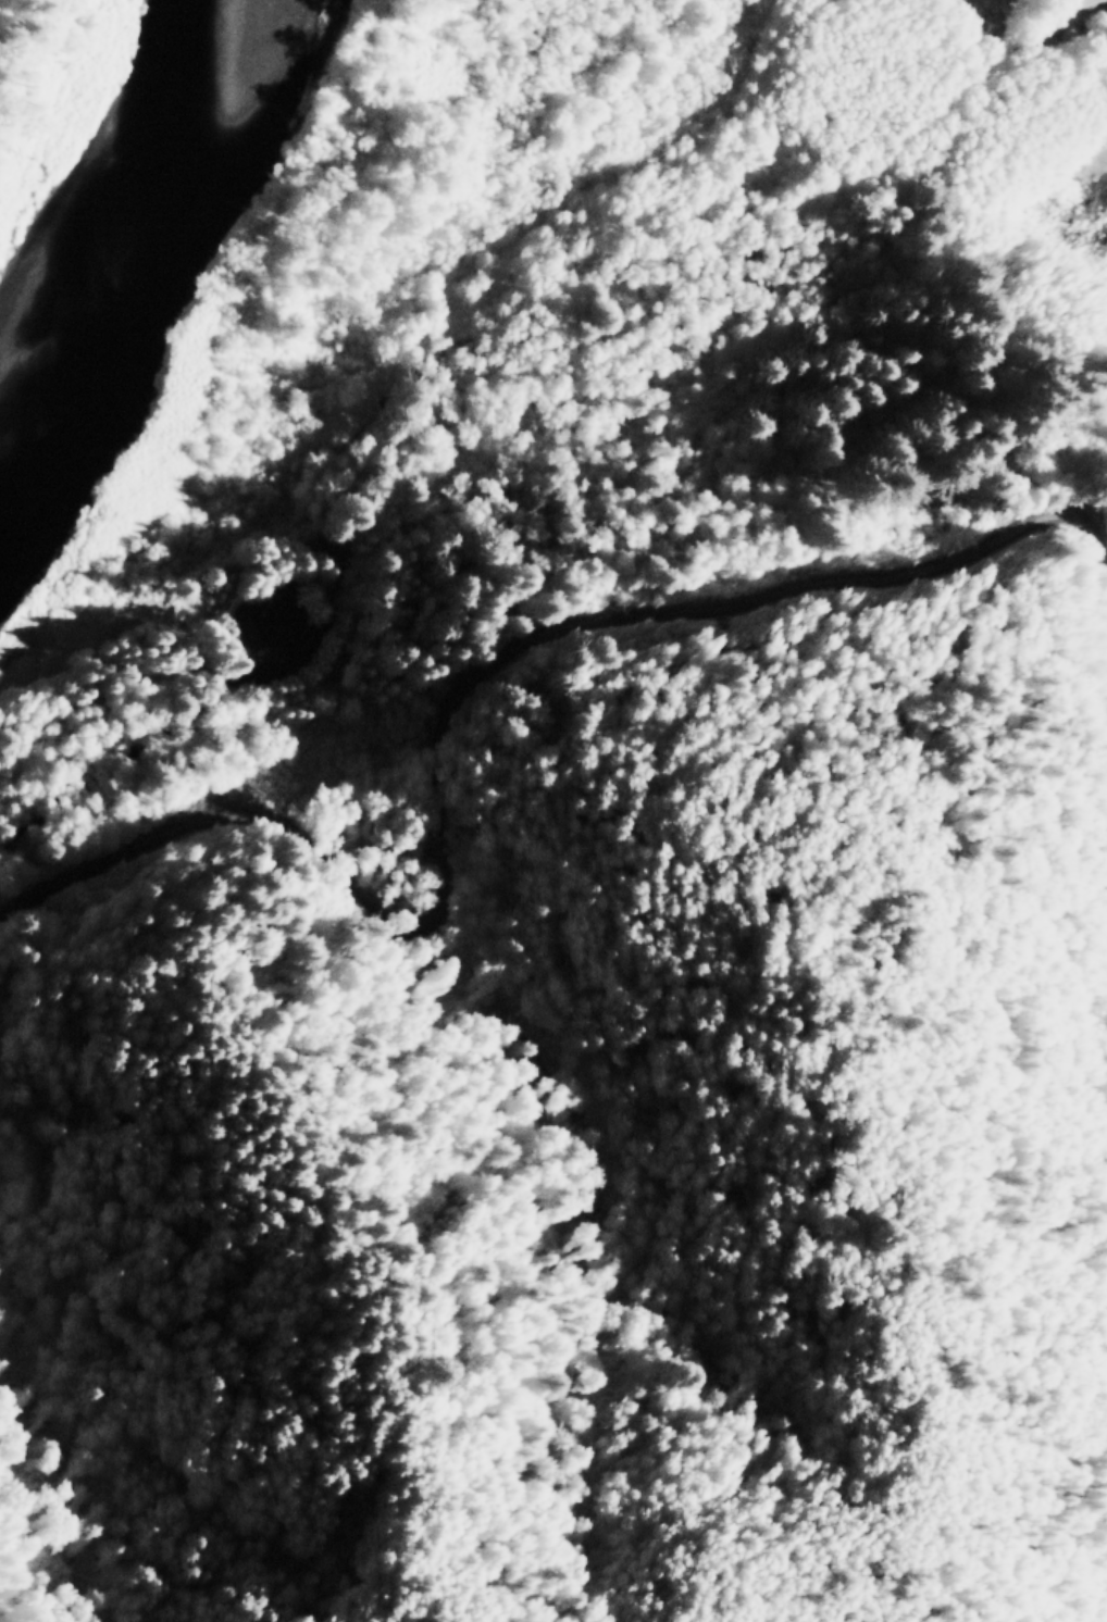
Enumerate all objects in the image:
crop: (997, 3)
building: (1086, 5)
river: (109, 255)
road: (545, 656)
road: (113, 718)

